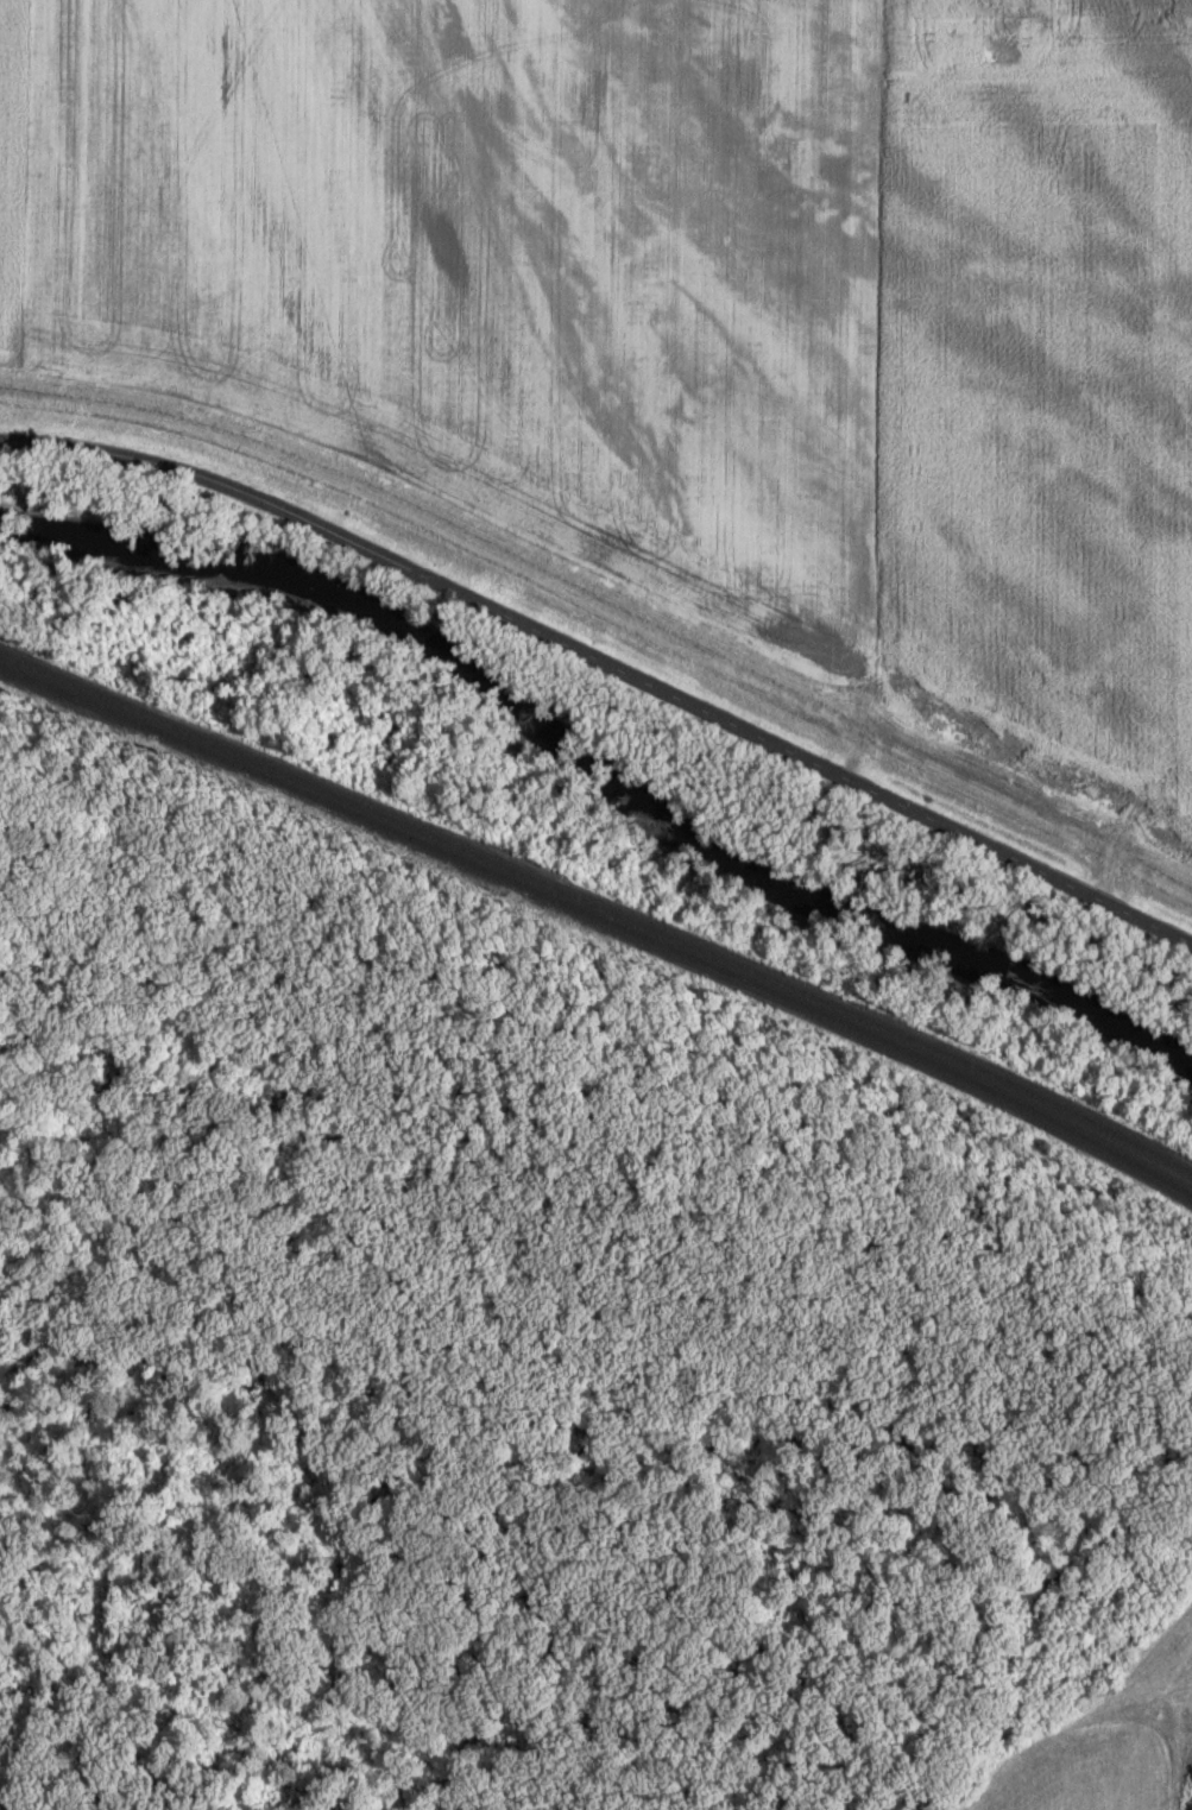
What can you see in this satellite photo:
crop: (17, 179)
crop: (507, 269)
crop: (1042, 397)
road: (605, 666)
river: (592, 764)
railway: (599, 909)
railway: (598, 929)

